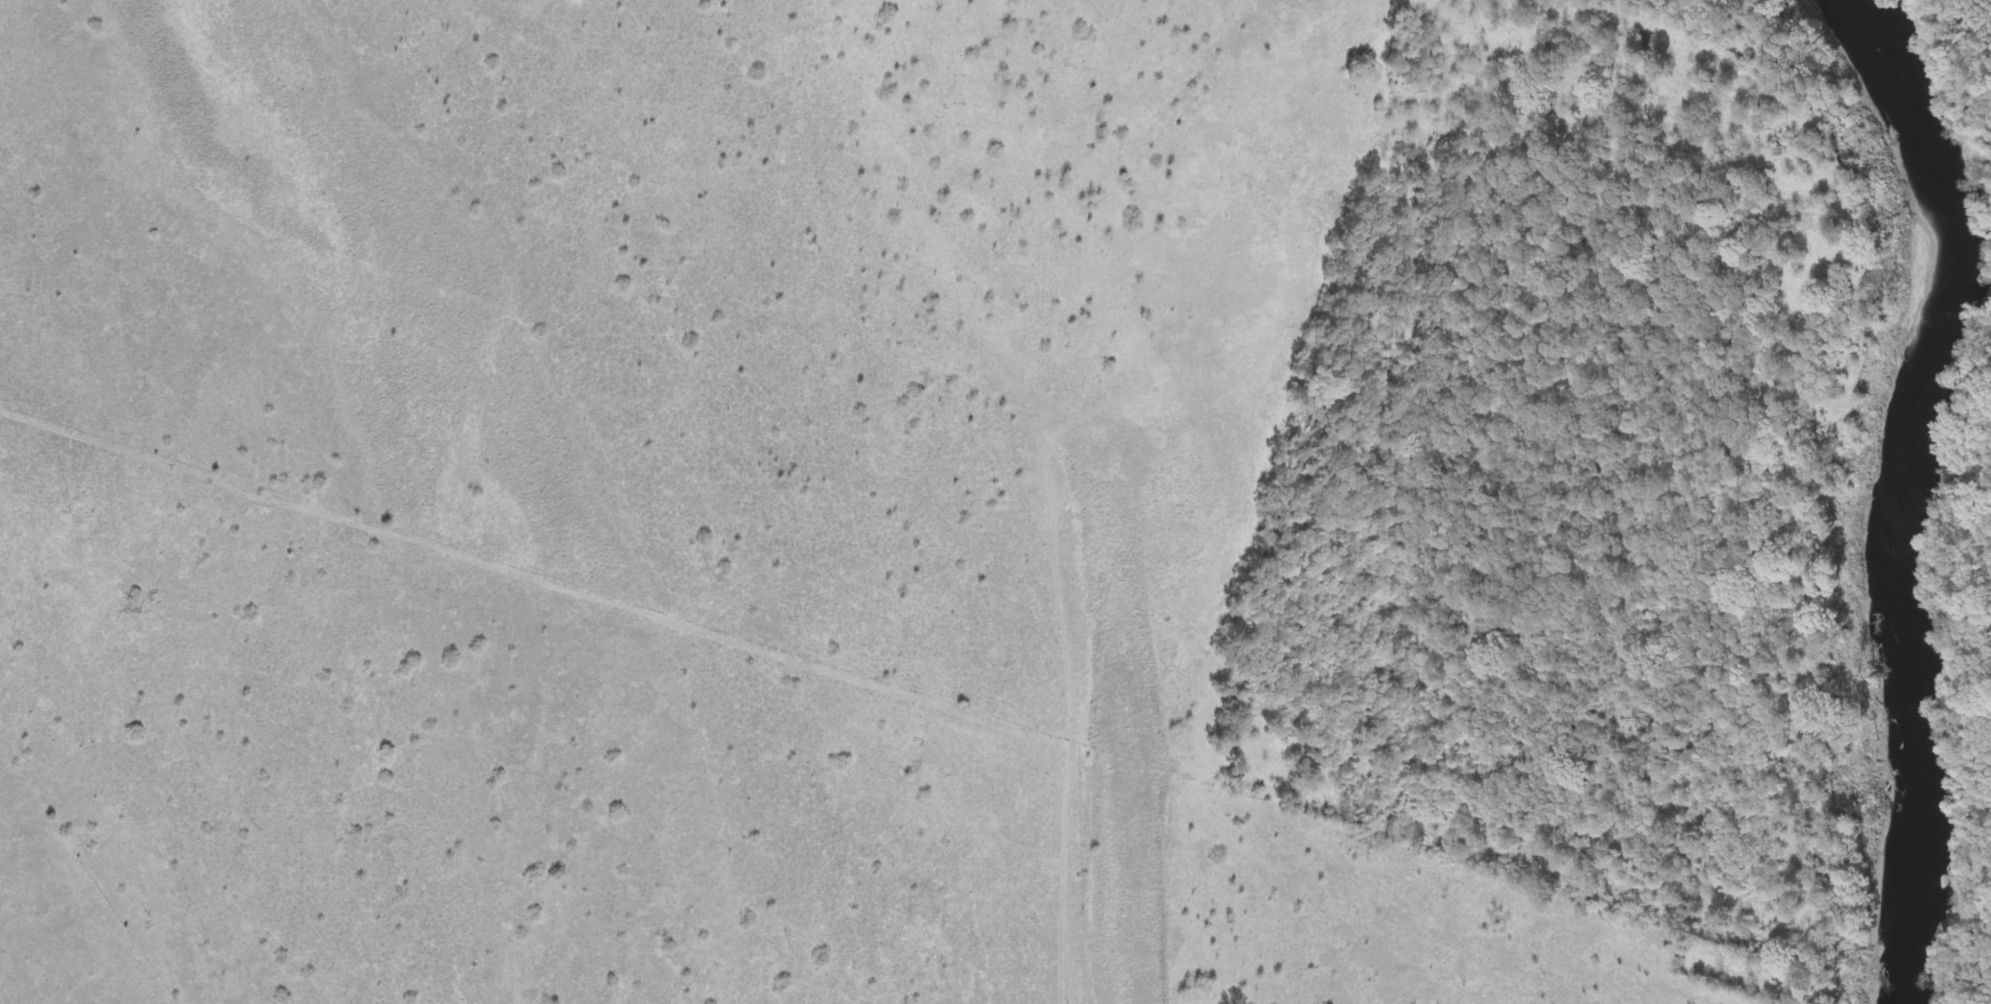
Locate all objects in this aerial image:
river: (1924, 488)

